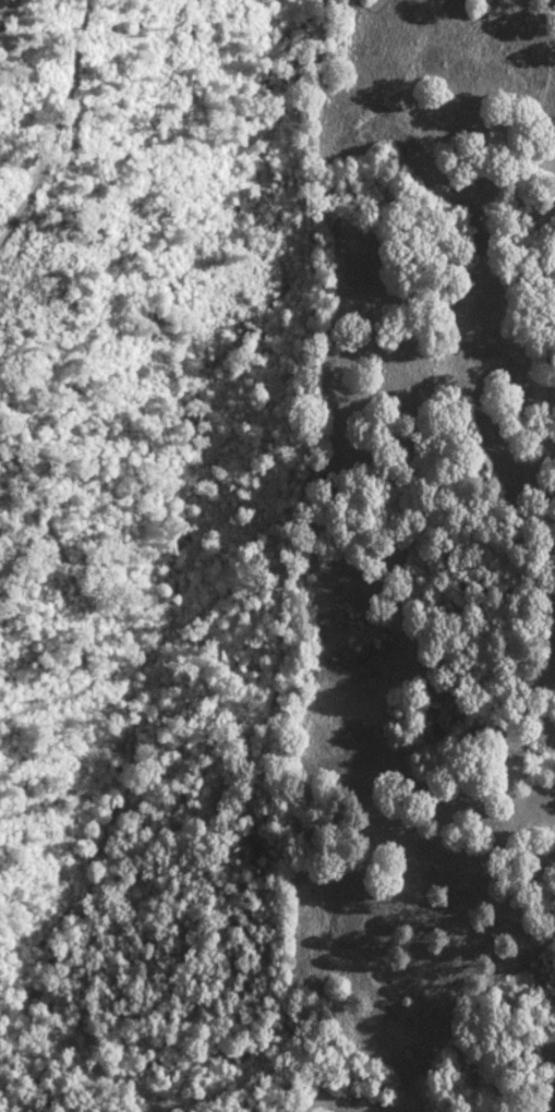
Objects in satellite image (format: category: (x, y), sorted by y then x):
road: (4, 15)

